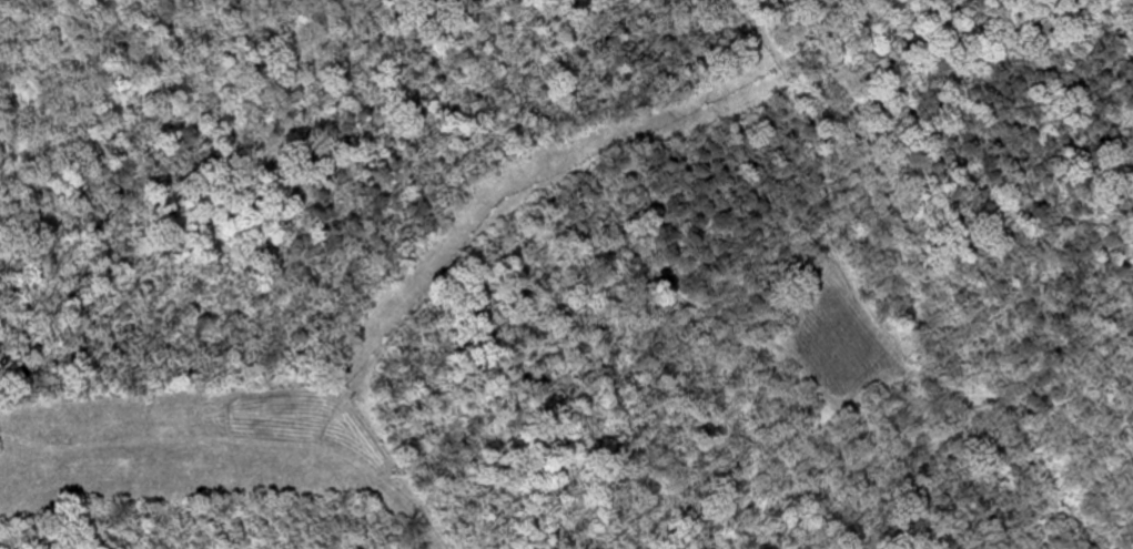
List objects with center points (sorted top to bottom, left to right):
road: (858, 311)

